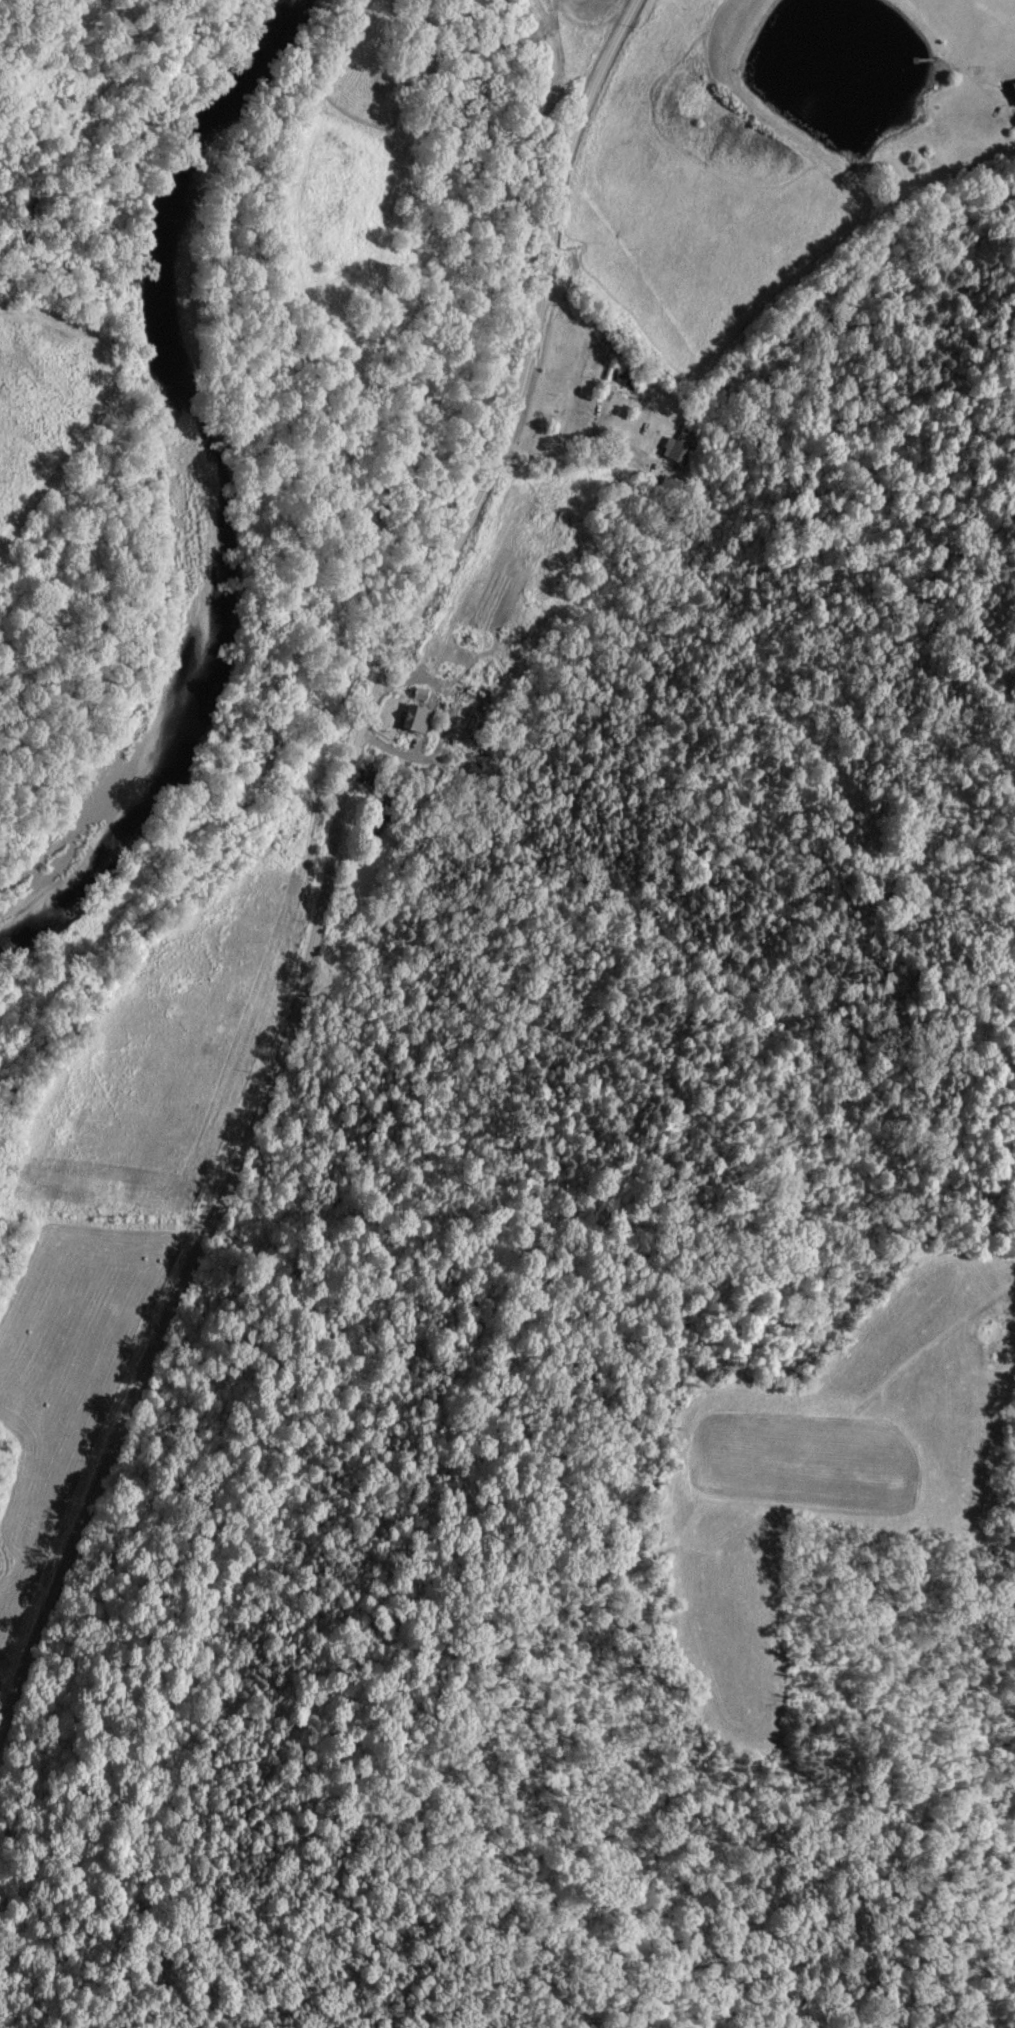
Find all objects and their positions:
building: (1011, 91)
crop: (737, 158)
crop: (47, 400)
road: (591, 432)
building: (676, 453)
river: (216, 496)
building: (410, 721)
road: (330, 867)

